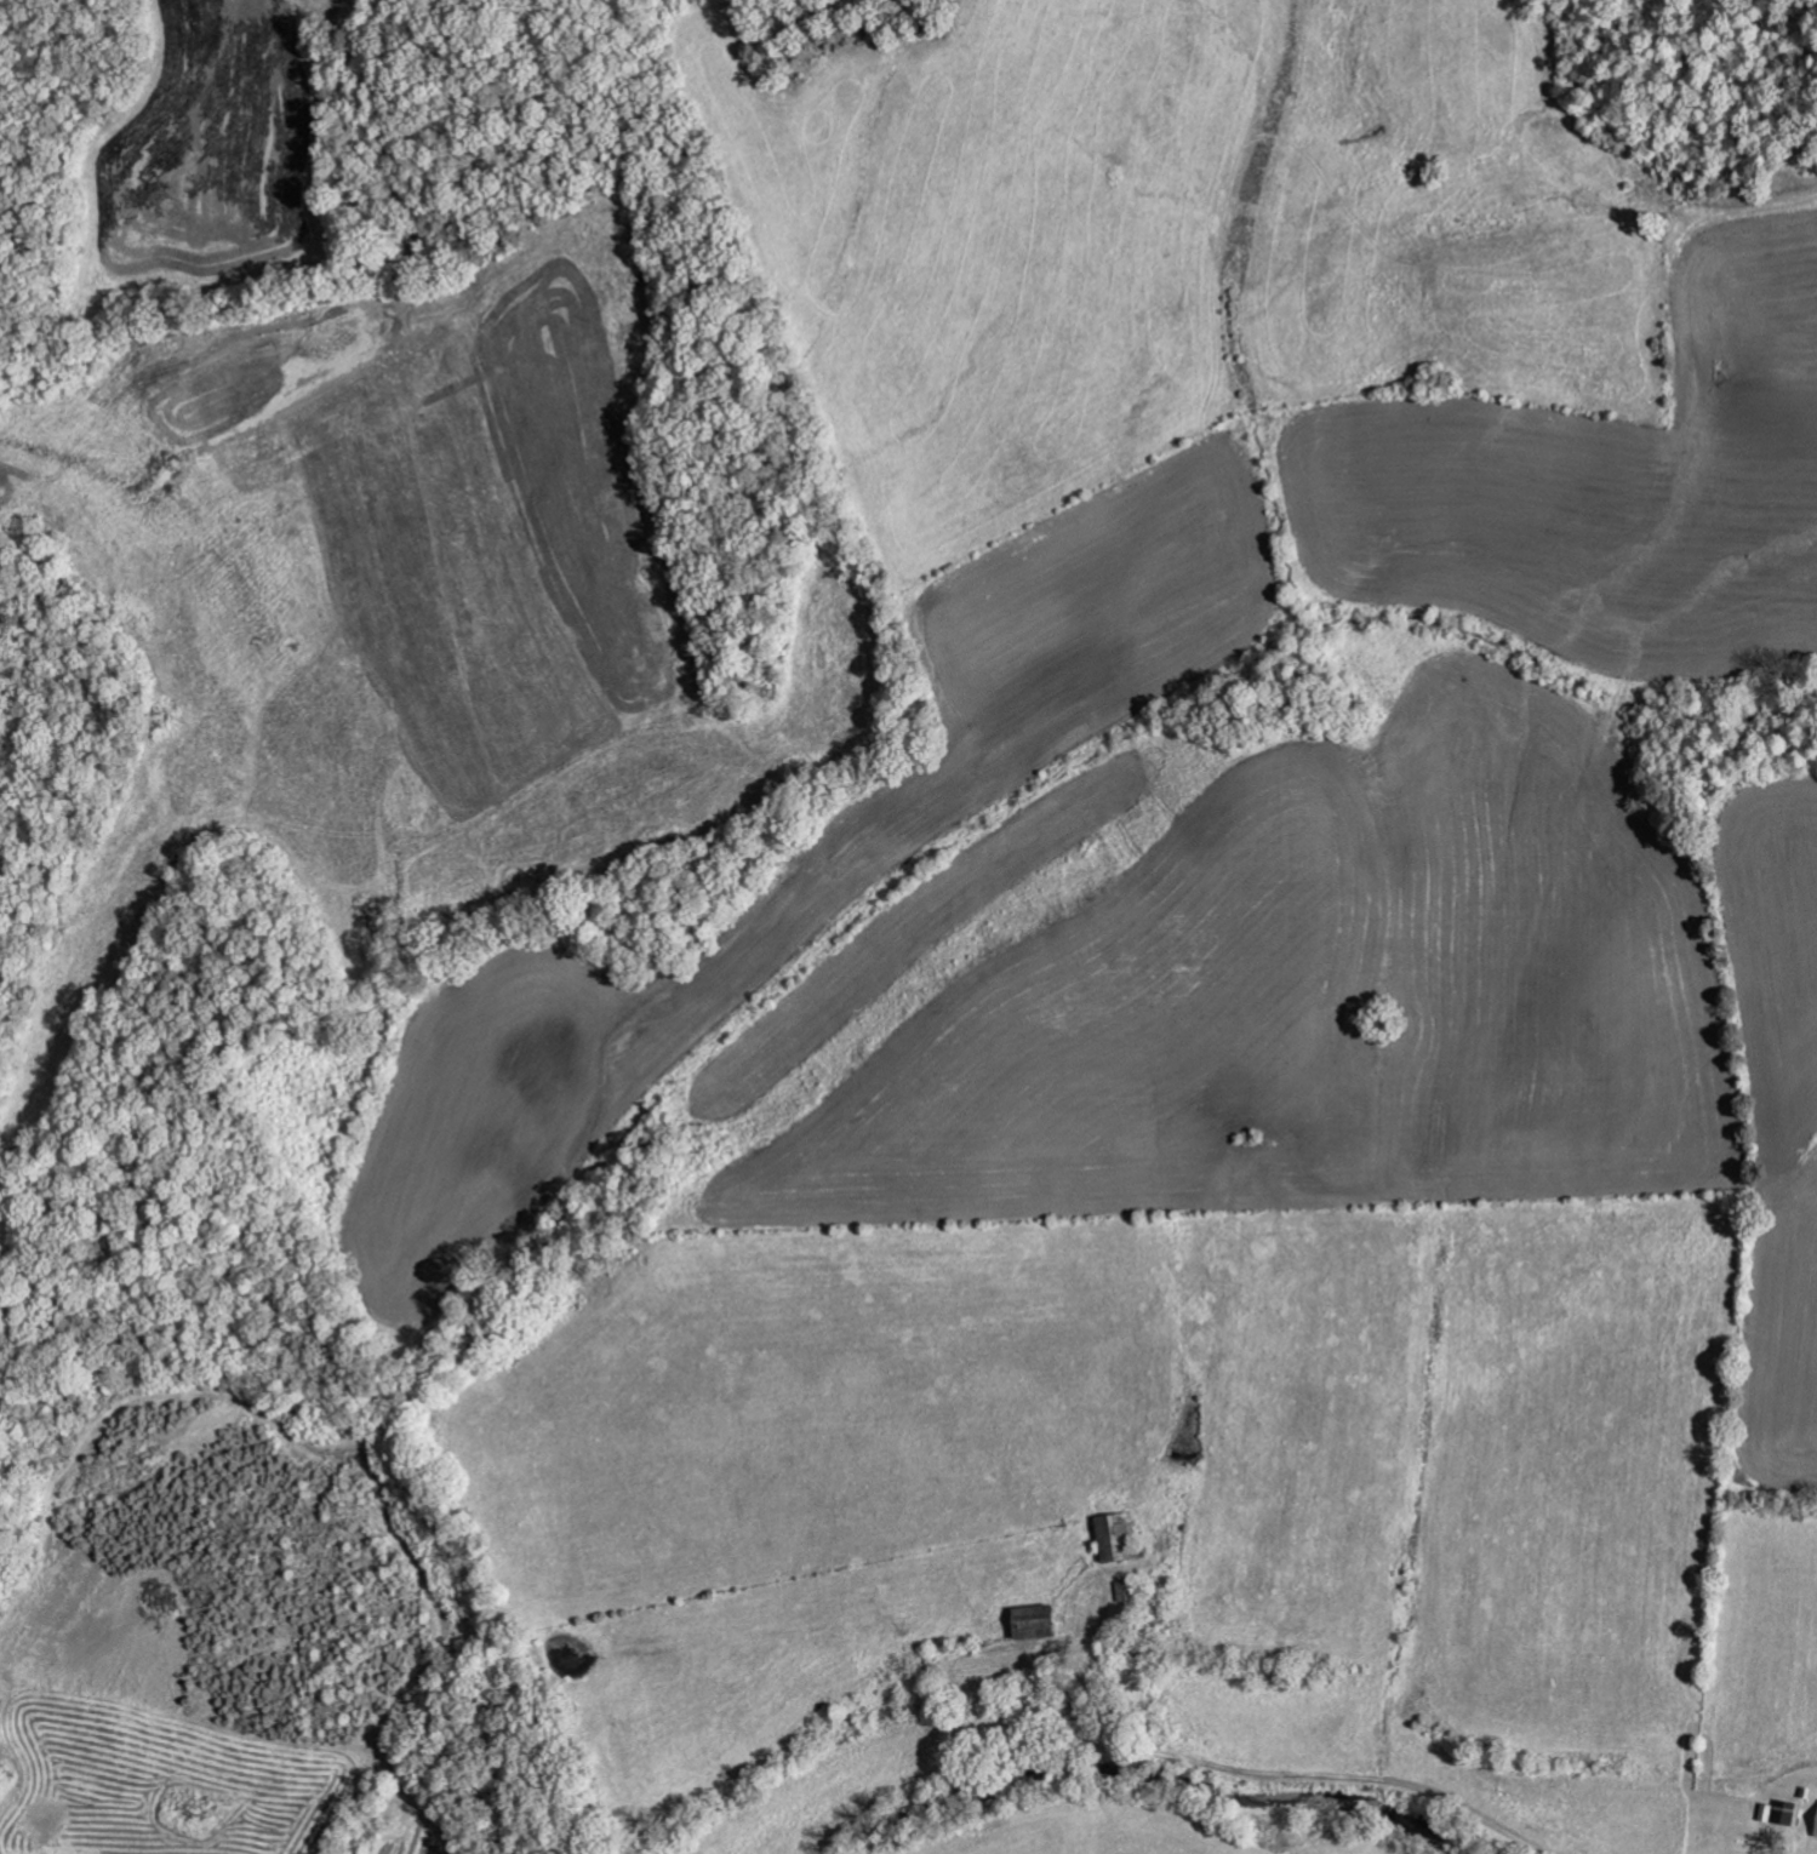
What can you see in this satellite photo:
building: (1112, 1537)
building: (1025, 1620)
road: (1332, 1778)
building: (1781, 1810)
building: (1815, 1822)

